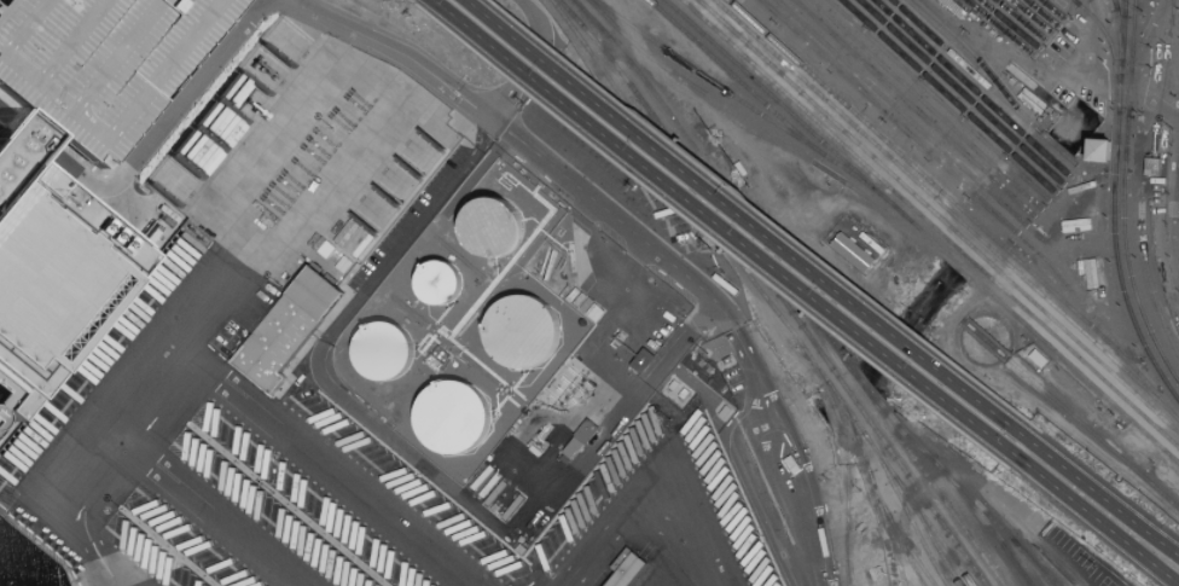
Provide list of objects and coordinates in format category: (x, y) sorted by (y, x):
railway: (1074, 2)
railway: (1114, 4)
railway: (1122, 8)
road: (261, 10)
railway: (1052, 10)
railway: (1041, 13)
railway: (1032, 17)
railway: (1021, 21)
railway: (1010, 24)
railway: (1000, 28)
railway: (1117, 31)
railway: (1110, 48)
road: (406, 54)
railway: (1138, 56)
road: (528, 57)
railway: (1129, 58)
railway: (981, 63)
parking lot: (108, 66)
building: (109, 66)
railway: (667, 69)
railway: (734, 77)
road: (1070, 80)
railway: (982, 82)
railway: (972, 88)
railway: (960, 92)
railway: (948, 95)
road: (6, 99)
railway: (936, 100)
railway: (744, 104)
railway: (924, 105)
railway: (913, 109)
railway: (900, 114)
railway: (888, 117)
road: (2, 135)
road: (146, 151)
building: (1098, 151)
railway: (1114, 152)
building: (1156, 164)
railway: (1177, 187)
railway: (1173, 204)
railway: (957, 207)
railway: (946, 210)
railway: (937, 217)
road: (750, 225)
railway: (929, 225)
building: (493, 227)
storage tank: (493, 227)
railway: (920, 232)
road: (727, 234)
building: (854, 255)
railway: (1126, 256)
building: (52, 282)
railway: (1149, 282)
building: (442, 283)
storage tank: (442, 283)
railway: (794, 288)
railway: (776, 290)
railway: (761, 294)
road: (730, 314)
building: (300, 321)
building: (521, 332)
storage tank: (521, 332)
railway: (983, 338)
railway: (1145, 348)
building: (383, 352)
storage tank: (383, 352)
building: (641, 359)
railway: (1174, 395)
building: (453, 417)
storage tank: (453, 417)
railway: (1092, 433)
building: (580, 439)
road: (413, 458)
railway: (846, 458)
road: (325, 462)
railway: (946, 474)
railway: (869, 480)
road: (1108, 503)
railway: (1001, 507)
railway: (905, 509)
railway: (983, 520)
road: (1102, 527)
railway: (894, 530)
railway: (928, 533)
railway: (911, 551)
railway: (1030, 562)
railway: (1018, 565)
building: (627, 570)

